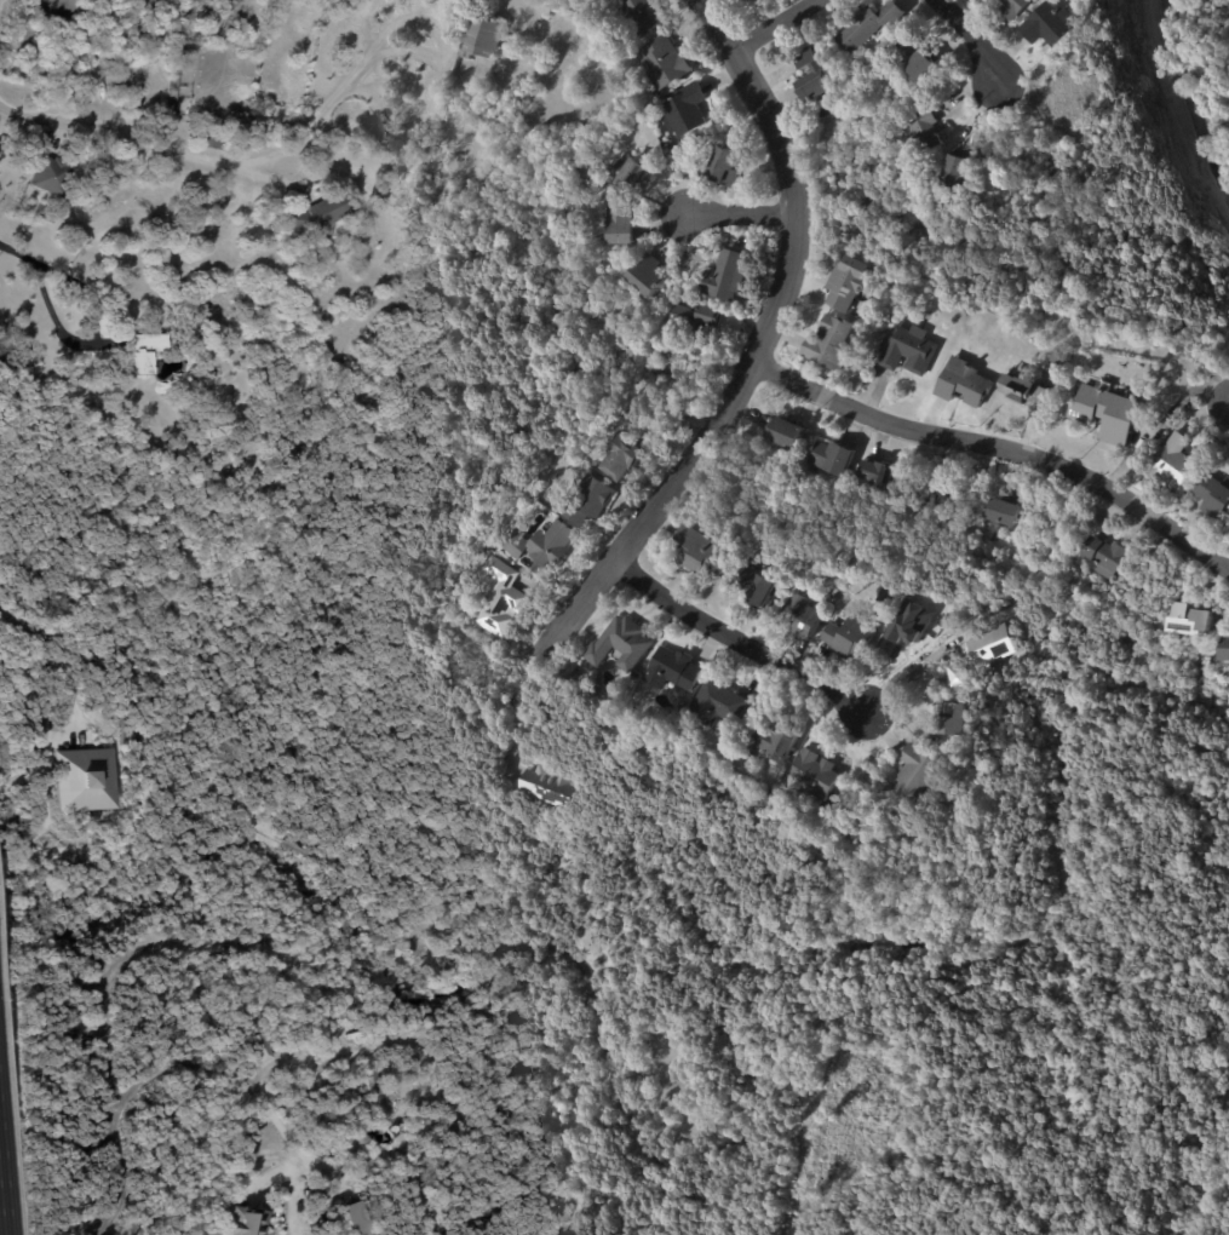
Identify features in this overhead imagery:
building: (745, 0)
building: (1011, 8)
building: (634, 18)
building: (868, 25)
road: (783, 27)
building: (1046, 27)
road: (976, 35)
building: (479, 38)
building: (917, 61)
building: (662, 63)
building: (811, 75)
building: (170, 87)
building: (683, 111)
building: (925, 132)
building: (209, 139)
building: (680, 147)
road: (213, 160)
building: (723, 167)
building: (631, 172)
building: (47, 174)
building: (957, 179)
road: (750, 212)
building: (314, 216)
building: (618, 222)
road: (17, 252)
building: (724, 275)
building: (643, 276)
building: (848, 283)
building: (693, 315)
road: (93, 334)
building: (829, 344)
road: (768, 349)
building: (907, 350)
building: (142, 351)
building: (1061, 356)
building: (21, 361)
building: (964, 383)
building: (1015, 389)
building: (1104, 414)
building: (787, 435)
road: (1001, 453)
building: (619, 458)
building: (832, 458)
building: (1172, 464)
building: (875, 476)
building: (928, 496)
building: (1213, 496)
building: (590, 498)
building: (1004, 513)
building: (546, 545)
building: (699, 551)
building: (1103, 558)
building: (753, 586)
building: (835, 591)
building: (886, 596)
building: (496, 598)
building: (828, 599)
building: (800, 619)
building: (1188, 620)
building: (848, 638)
road: (740, 641)
building: (620, 645)
building: (990, 648)
building: (1223, 649)
road: (53, 657)
building: (672, 672)
road: (909, 676)
building: (955, 678)
building: (717, 703)
road: (517, 707)
building: (952, 720)
building: (776, 743)
building: (719, 760)
building: (814, 774)
building: (912, 774)
building: (545, 788)
building: (94, 793)
road: (228, 948)
building: (344, 1015)
building: (649, 1021)
building: (425, 1023)
building: (375, 1028)
building: (168, 1038)
building: (257, 1049)
building: (371, 1084)
building: (361, 1159)
road: (4, 1183)
building: (354, 1217)
building: (236, 1223)
building: (276, 1225)

